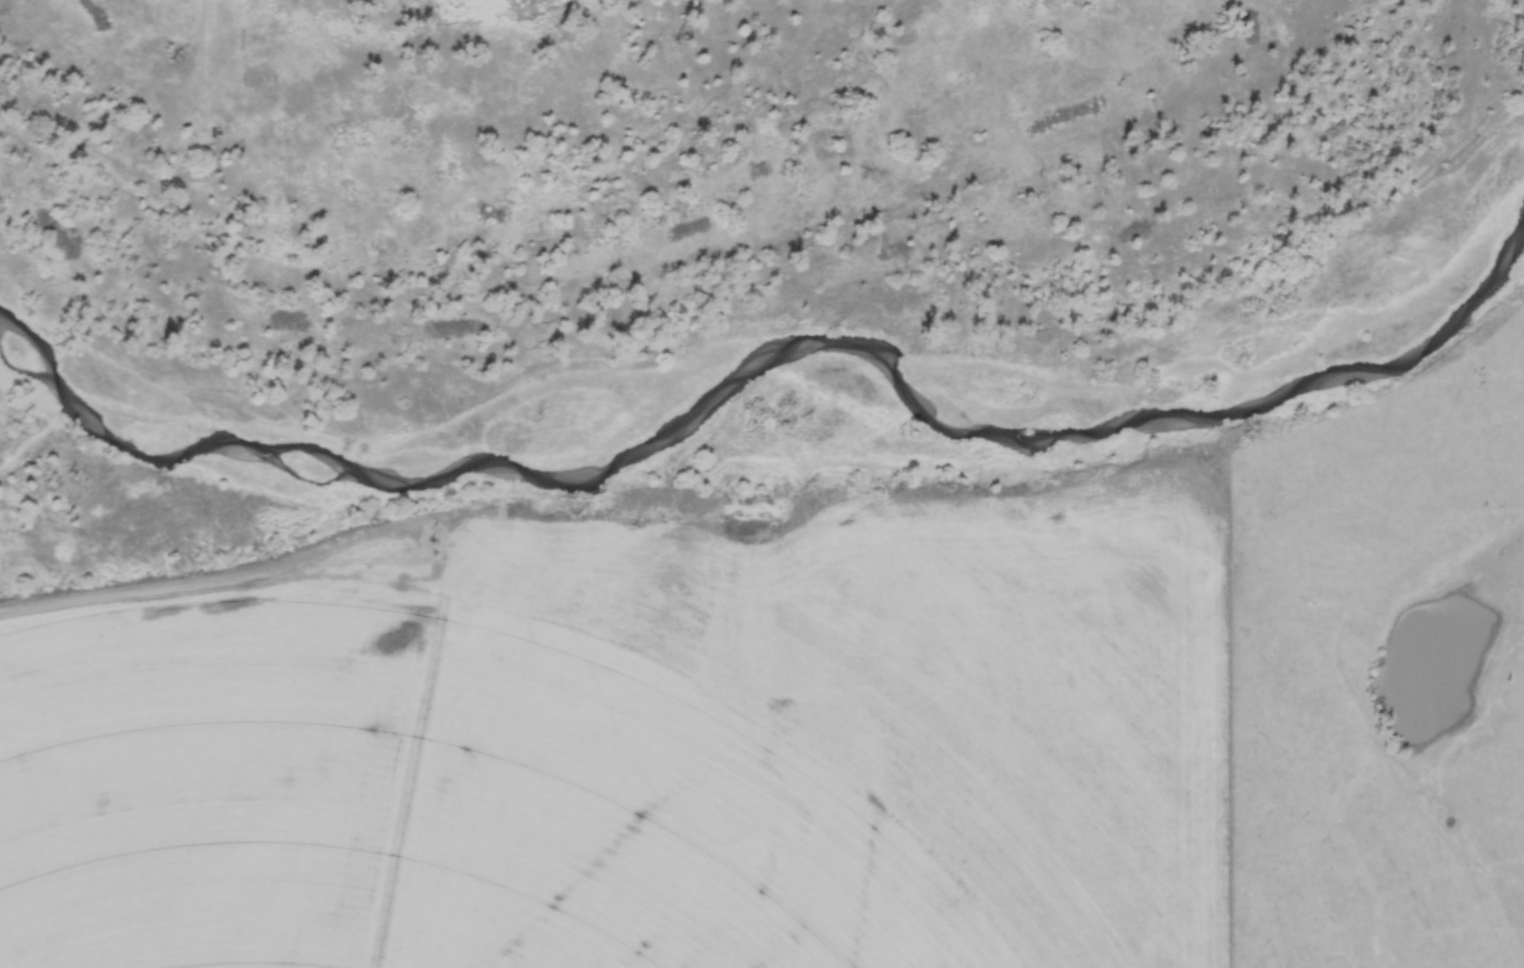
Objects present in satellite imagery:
river: (768, 354)

